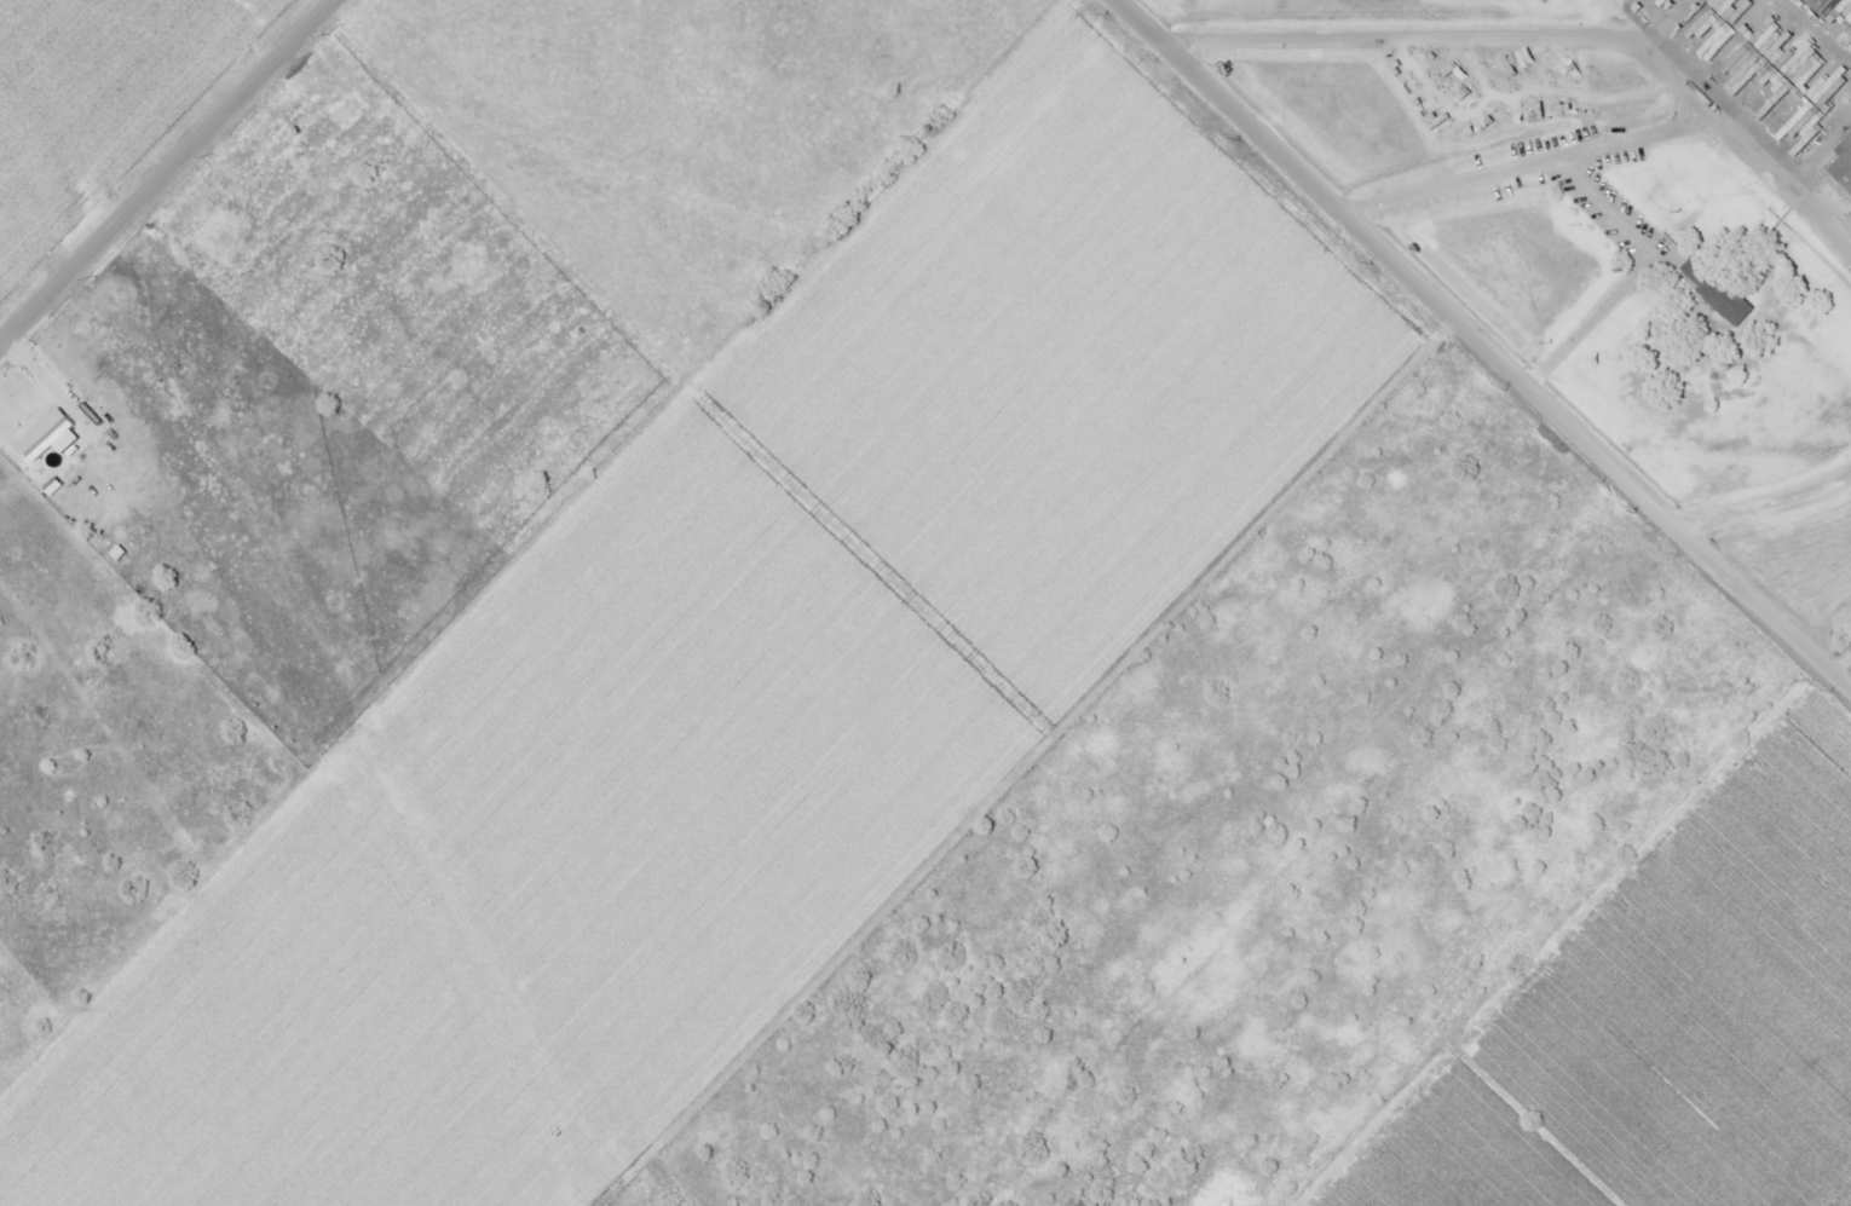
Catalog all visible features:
building: (1827, 4)
road: (1822, 25)
road: (1458, 39)
road: (1659, 48)
building: (1770, 60)
road: (1751, 119)
road: (1624, 144)
building: (1847, 150)
building: (1849, 171)
road: (169, 175)
parking lot: (1575, 181)
road: (1636, 277)
building: (1723, 288)
road: (1484, 341)
crop: (1063, 367)
building: (52, 435)
road: (1770, 507)
road: (1846, 669)
crop: (548, 871)
crop: (1666, 1021)

